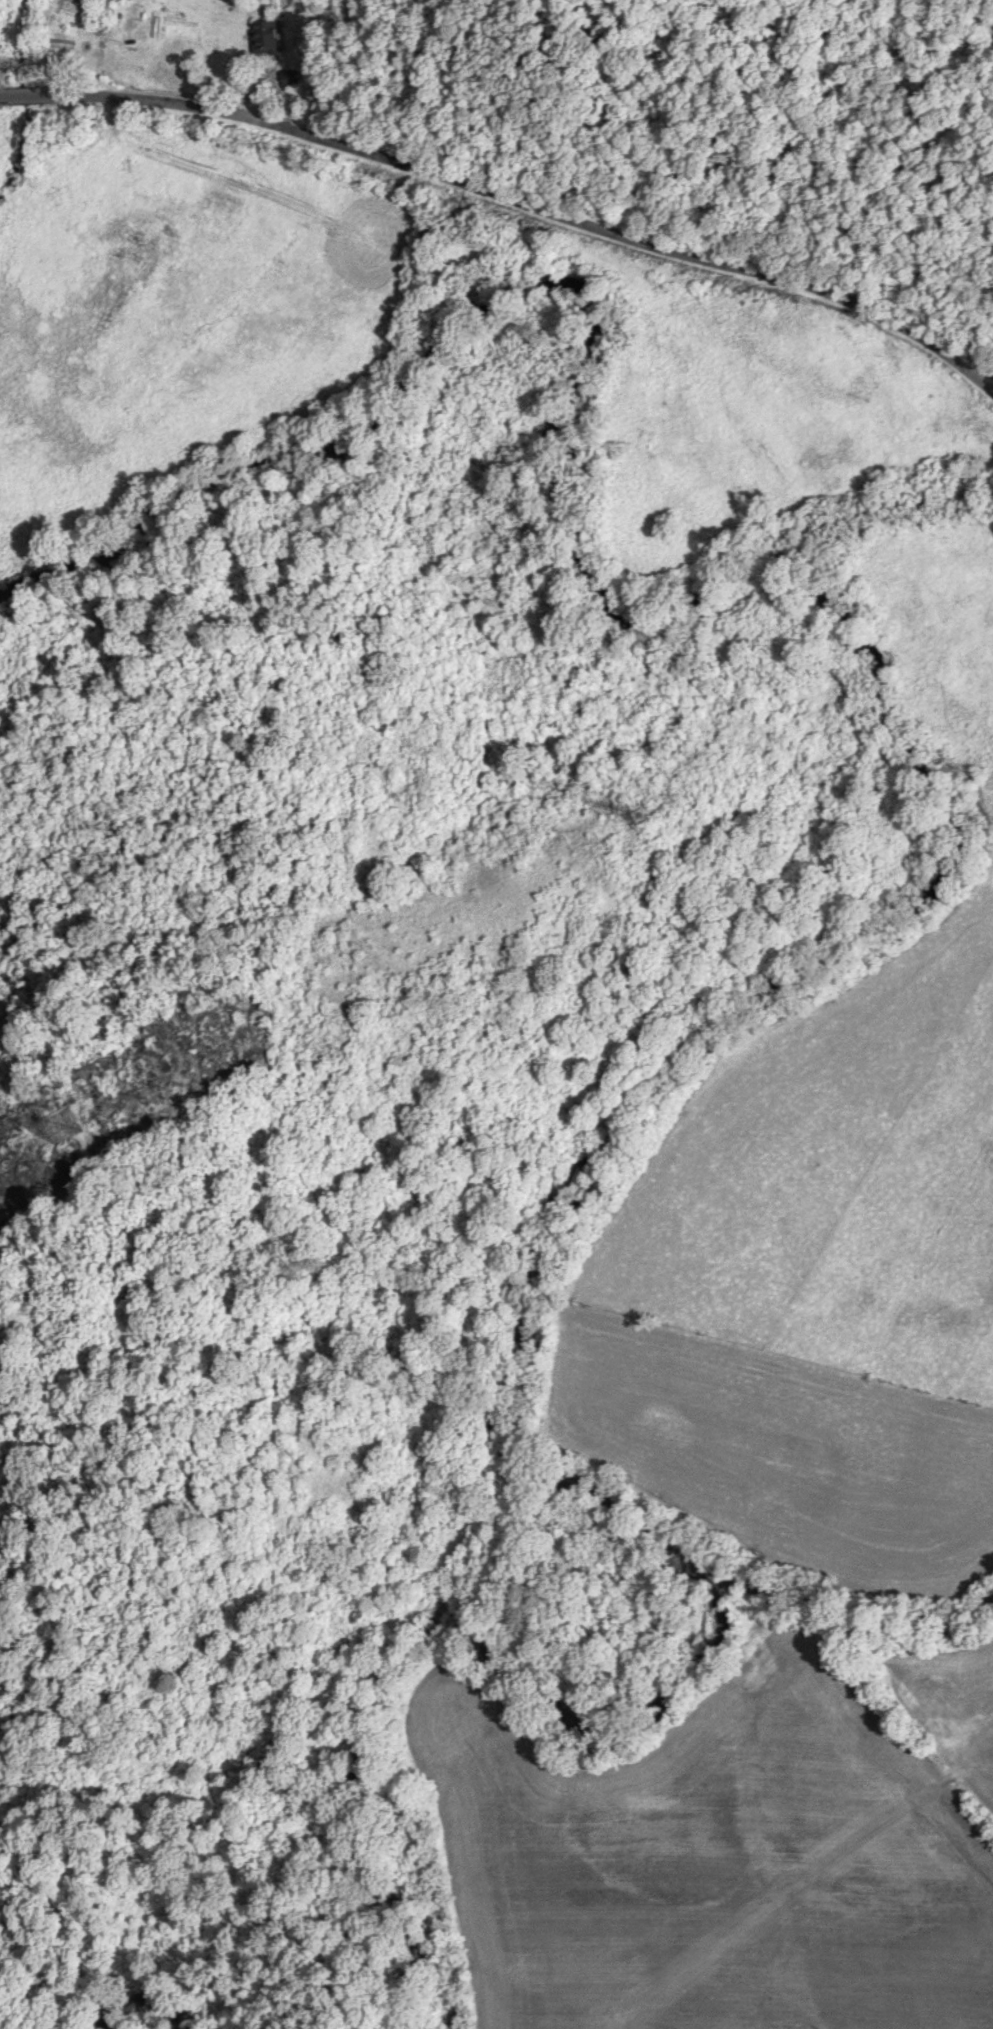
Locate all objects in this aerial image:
building: (103, 18)
building: (267, 36)
building: (291, 77)
road: (521, 195)
power tower: (652, 814)
power tower: (73, 1125)

